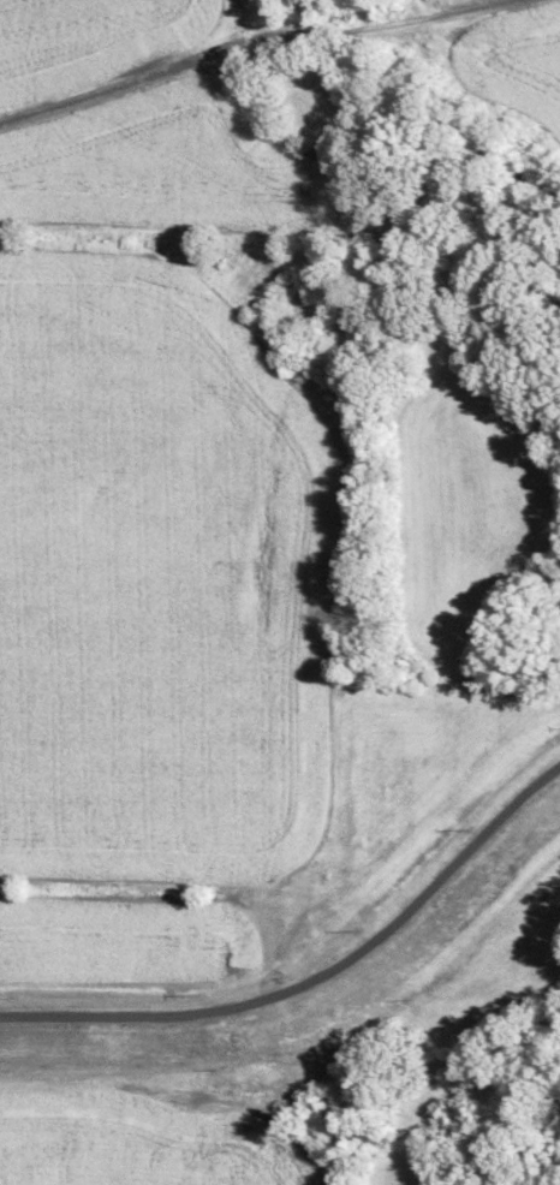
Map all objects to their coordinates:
road: (316, 976)

